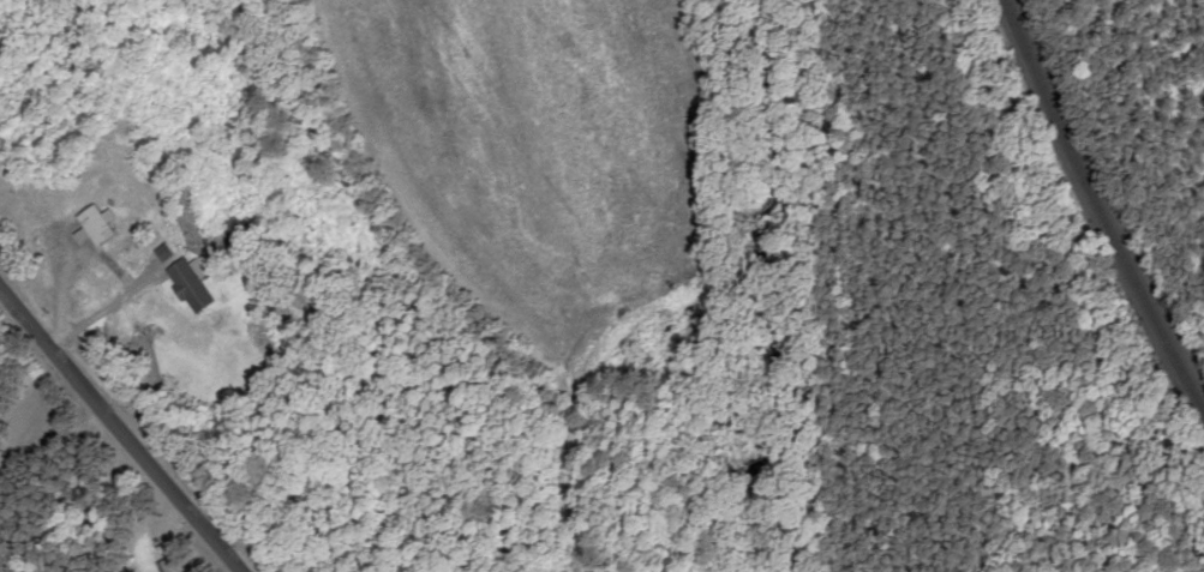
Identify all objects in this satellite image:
railway: (1100, 204)
building: (94, 224)
building: (187, 283)
road: (130, 429)

